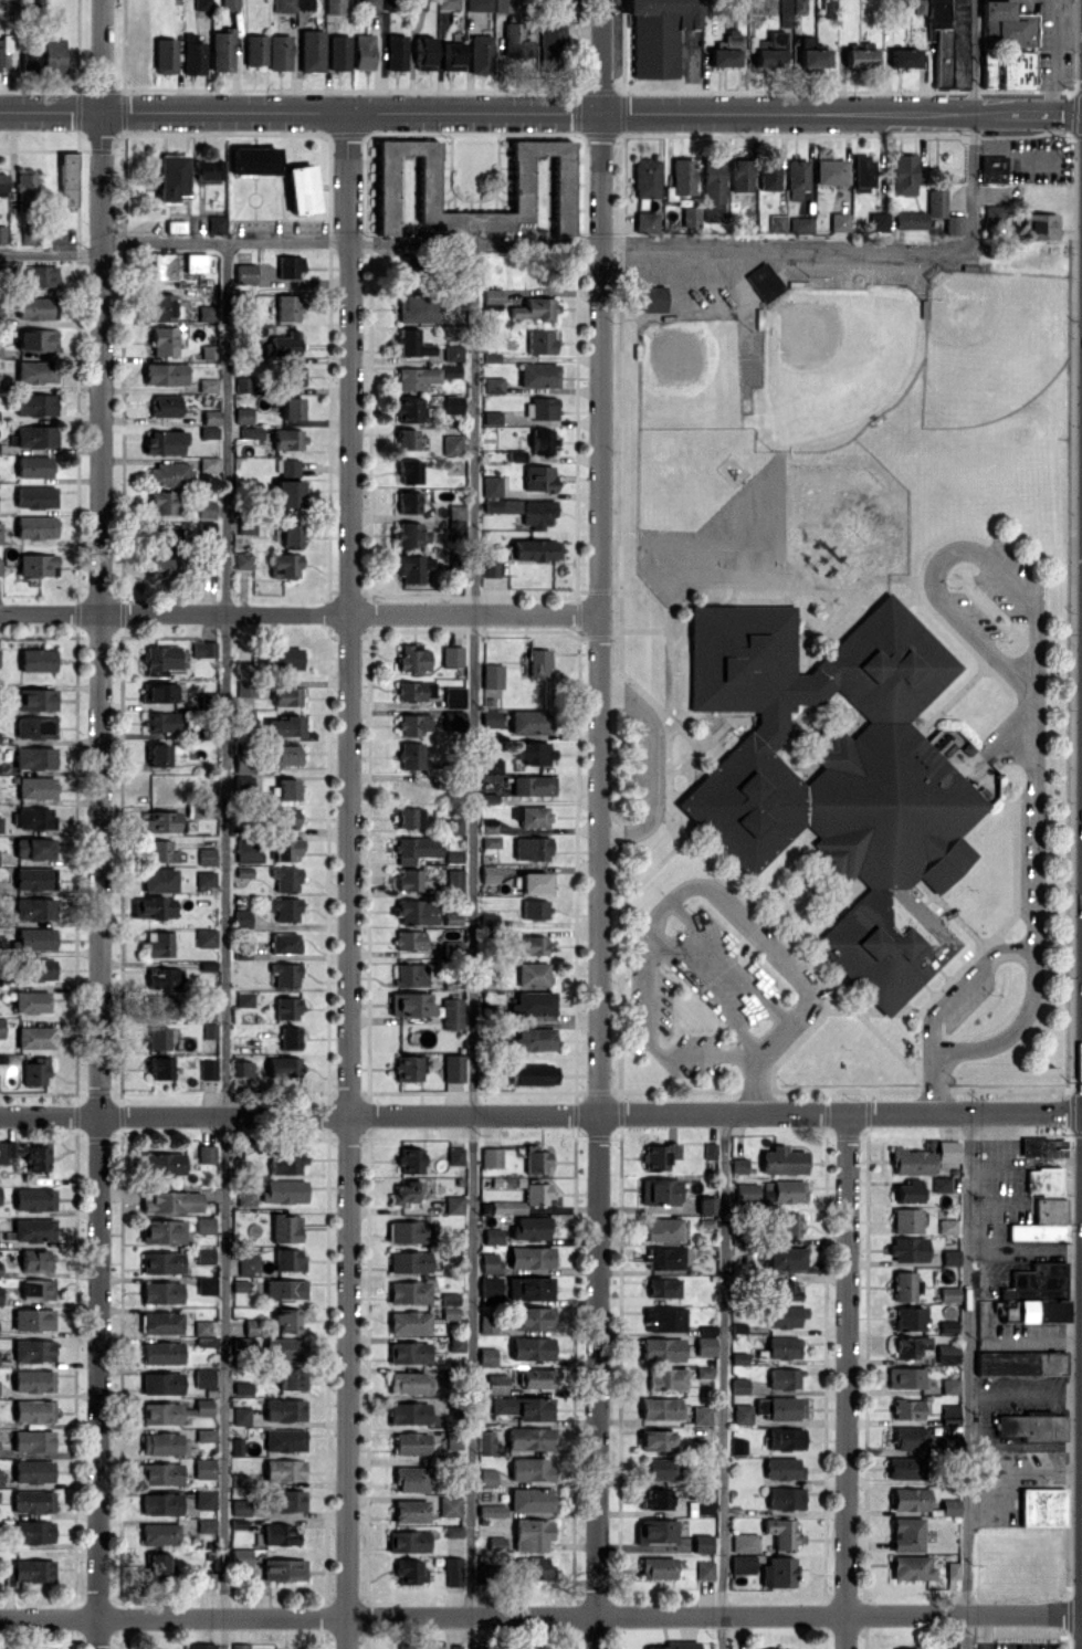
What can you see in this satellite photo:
building: (203, 3)
building: (229, 4)
building: (304, 4)
building: (369, 4)
building: (417, 4)
building: (448, 4)
building: (479, 4)
building: (283, 6)
building: (503, 6)
building: (754, 6)
building: (335, 7)
building: (921, 7)
building: (827, 9)
building: (897, 9)
building: (790, 10)
building: (659, 34)
building: (514, 40)
building: (947, 41)
building: (550, 42)
building: (1007, 46)
building: (222, 49)
building: (254, 50)
building: (312, 50)
building: (769, 50)
building: (363, 51)
building: (725, 51)
building: (0, 52)
building: (279, 52)
building: (339, 52)
building: (396, 52)
building: (53, 53)
building: (423, 53)
building: (481, 53)
building: (811, 53)
building: (192, 54)
building: (165, 55)
building: (452, 55)
road: (601, 55)
building: (30, 57)
building: (859, 57)
building: (904, 57)
road: (301, 111)
road: (841, 112)
road: (970, 123)
building: (253, 160)
building: (992, 168)
building: (208, 169)
building: (829, 171)
building: (863, 171)
building: (768, 174)
building: (903, 174)
building: (740, 175)
building: (171, 177)
road: (600, 177)
building: (645, 177)
building: (681, 178)
building: (796, 178)
building: (70, 179)
building: (427, 182)
building: (2, 183)
building: (24, 185)
building: (301, 189)
building: (712, 190)
building: (935, 202)
building: (994, 214)
building: (690, 216)
building: (910, 219)
building: (879, 220)
building: (645, 221)
building: (839, 221)
building: (776, 222)
building: (801, 223)
building: (955, 223)
building: (217, 224)
building: (1039, 225)
building: (2, 233)
road: (350, 242)
road: (785, 245)
road: (50, 252)
building: (195, 262)
building: (164, 265)
building: (288, 266)
building: (244, 273)
building: (36, 276)
building: (764, 281)
building: (652, 297)
building: (491, 298)
building: (161, 306)
building: (33, 307)
building: (288, 307)
building: (414, 307)
building: (534, 308)
building: (0, 313)
building: (36, 339)
building: (164, 340)
building: (539, 342)
park: (990, 342)
building: (285, 344)
building: (411, 344)
building: (208, 351)
building: (452, 351)
park: (831, 354)
building: (450, 370)
building: (35, 371)
building: (165, 374)
building: (293, 375)
building: (538, 375)
building: (416, 377)
building: (242, 384)
building: (493, 384)
building: (207, 385)
building: (36, 403)
building: (452, 403)
building: (165, 406)
building: (291, 407)
building: (539, 408)
building: (408, 409)
building: (242, 414)
building: (210, 416)
building: (491, 417)
building: (208, 431)
building: (250, 432)
building: (33, 435)
building: (287, 439)
building: (406, 439)
building: (542, 440)
building: (164, 442)
building: (451, 444)
building: (515, 455)
building: (208, 463)
building: (33, 465)
building: (286, 466)
building: (409, 471)
building: (168, 474)
building: (538, 477)
building: (491, 485)
building: (287, 493)
building: (35, 496)
building: (162, 502)
building: (408, 502)
building: (501, 505)
building: (206, 508)
building: (537, 513)
building: (455, 519)
building: (35, 526)
building: (246, 526)
building: (0, 533)
building: (169, 534)
building: (410, 534)
building: (291, 535)
road: (949, 545)
building: (535, 549)
building: (243, 559)
building: (38, 565)
building: (284, 565)
building: (0, 566)
building: (161, 567)
building: (413, 567)
building: (489, 567)
road: (300, 612)
building: (203, 649)
building: (451, 655)
building: (412, 657)
building: (284, 658)
building: (38, 659)
building: (161, 660)
building: (538, 662)
building: (492, 674)
building: (245, 687)
building: (413, 690)
building: (159, 692)
building: (286, 695)
building: (453, 695)
building: (38, 700)
building: (490, 717)
building: (452, 718)
building: (528, 721)
building: (161, 722)
building: (410, 724)
building: (284, 725)
building: (35, 726)
building: (286, 753)
building: (534, 753)
building: (158, 754)
building: (410, 755)
building: (34, 757)
building: (492, 764)
road: (650, 766)
building: (838, 779)
building: (532, 785)
building: (36, 787)
building: (286, 788)
building: (531, 816)
building: (35, 817)
building: (285, 817)
building: (409, 817)
road: (1029, 817)
building: (159, 820)
building: (0, 823)
road: (99, 823)
building: (487, 824)
building: (452, 826)
building: (490, 841)
building: (35, 848)
building: (286, 848)
building: (412, 848)
building: (531, 848)
building: (249, 850)
building: (161, 851)
building: (207, 855)
building: (453, 857)
building: (489, 873)
building: (35, 878)
building: (204, 878)
building: (285, 879)
building: (408, 879)
building: (159, 880)
road: (349, 880)
building: (454, 881)
building: (533, 882)
building: (155, 907)
building: (35, 908)
building: (285, 908)
building: (534, 908)
building: (416, 911)
road: (650, 911)
building: (241, 918)
building: (487, 920)
road: (743, 922)
building: (204, 937)
building: (35, 938)
building: (409, 939)
building: (158, 943)
building: (284, 943)
road: (225, 945)
road: (472, 945)
building: (529, 945)
road: (599, 946)
road: (725, 958)
building: (38, 968)
building: (284, 974)
building: (410, 974)
building: (532, 974)
building: (162, 977)
road: (958, 980)
road: (703, 992)
building: (244, 998)
building: (31, 1001)
building: (534, 1002)
building: (410, 1004)
road: (798, 1005)
building: (162, 1006)
building: (286, 1008)
building: (451, 1012)
building: (1, 1027)
road: (1009, 1029)
building: (35, 1037)
building: (157, 1037)
building: (288, 1037)
building: (534, 1038)
road: (648, 1040)
road: (754, 1061)
building: (282, 1065)
building: (160, 1068)
building: (242, 1068)
building: (406, 1068)
building: (452, 1068)
building: (207, 1069)
building: (35, 1071)
building: (532, 1074)
road: (929, 1084)
road: (540, 1113)
building: (1042, 1146)
building: (708, 1149)
building: (947, 1151)
building: (206, 1153)
building: (25, 1155)
building: (454, 1155)
building: (658, 1155)
building: (490, 1157)
building: (409, 1159)
building: (534, 1159)
building: (781, 1159)
building: (286, 1162)
building: (911, 1162)
building: (162, 1163)
building: (737, 1165)
building: (1042, 1180)
building: (939, 1184)
building: (282, 1190)
building: (658, 1190)
building: (782, 1190)
building: (406, 1191)
building: (536, 1191)
building: (908, 1191)
building: (745, 1193)
building: (33, 1198)
building: (245, 1198)
building: (170, 1201)
building: (453, 1204)
building: (705, 1205)
building: (905, 1220)
building: (1041, 1221)
building: (787, 1223)
building: (204, 1225)
building: (946, 1226)
building: (284, 1228)
building: (528, 1228)
building: (661, 1228)
building: (32, 1229)
building: (161, 1230)
building: (407, 1231)
building: (452, 1236)
building: (491, 1236)
building: (906, 1249)
building: (203, 1254)
building: (529, 1257)
building: (664, 1257)
building: (781, 1257)
building: (949, 1257)
building: (287, 1259)
building: (35, 1260)
building: (408, 1261)
building: (161, 1262)
building: (487, 1262)
building: (246, 1263)
building: (1034, 1283)
building: (206, 1285)
building: (489, 1286)
building: (662, 1286)
building: (903, 1286)
building: (284, 1288)
building: (528, 1288)
building: (0, 1289)
building: (36, 1289)
building: (781, 1289)
building: (160, 1292)
building: (408, 1292)
building: (948, 1293)
building: (449, 1305)
building: (1039, 1311)
building: (782, 1316)
building: (532, 1317)
building: (907, 1317)
building: (32, 1319)
building: (664, 1319)
building: (286, 1320)
building: (408, 1321)
building: (160, 1322)
building: (486, 1323)
building: (200, 1326)
building: (454, 1343)
building: (703, 1345)
building: (908, 1345)
building: (529, 1347)
building: (781, 1347)
building: (284, 1348)
building: (660, 1348)
building: (33, 1351)
building: (407, 1352)
building: (160, 1353)
building: (946, 1353)
building: (485, 1355)
building: (1019, 1363)
building: (702, 1372)
building: (202, 1377)
building: (535, 1377)
building: (782, 1377)
building: (904, 1377)
building: (291, 1378)
building: (664, 1378)
road: (722, 1379)
road: (845, 1379)
road: (968, 1379)
building: (33, 1380)
building: (160, 1383)
building: (408, 1383)
building: (495, 1384)
building: (737, 1385)
building: (949, 1385)
road: (1025, 1393)
building: (523, 1407)
building: (659, 1407)
building: (785, 1408)
building: (905, 1408)
building: (283, 1409)
building: (33, 1410)
building: (172, 1411)
building: (407, 1412)
building: (740, 1412)
building: (700, 1414)
building: (948, 1414)
building: (240, 1415)
building: (1033, 1429)
building: (528, 1438)
building: (785, 1438)
building: (908, 1438)
building: (655, 1439)
building: (32, 1440)
building: (283, 1440)
building: (484, 1441)
building: (410, 1442)
building: (162, 1443)
road: (1025, 1443)
building: (235, 1446)
building: (736, 1446)
building: (202, 1468)
building: (781, 1468)
building: (904, 1468)
building: (528, 1469)
building: (658, 1469)
building: (283, 1470)
building: (32, 1471)
building: (160, 1472)
building: (485, 1477)
building: (410, 1478)
building: (0, 1480)
building: (784, 1498)
building: (203, 1499)
building: (529, 1499)
building: (655, 1499)
building: (908, 1499)
building: (32, 1501)
building: (284, 1501)
building: (159, 1503)
building: (449, 1505)
building: (703, 1506)
building: (948, 1506)
building: (1040, 1506)
building: (239, 1508)
building: (409, 1510)
building: (490, 1510)
building: (204, 1525)
building: (32, 1531)
building: (654, 1531)
building: (158, 1533)
building: (781, 1533)
building: (279, 1534)
building: (531, 1534)
building: (906, 1534)
building: (407, 1541)
building: (743, 1542)
building: (495, 1543)
building: (702, 1543)
building: (239, 1557)
building: (156, 1564)
building: (742, 1564)
building: (532, 1567)
building: (655, 1567)
building: (910, 1567)
building: (28, 1569)
building: (283, 1569)
building: (703, 1569)
building: (452, 1571)
building: (409, 1572)
building: (777, 1572)
building: (207, 1579)
road: (540, 1615)
road: (983, 1631)
building: (674, 1645)
building: (200, 1646)
building: (238, 1646)
building: (410, 1646)
building: (532, 1647)
building: (903, 1648)

